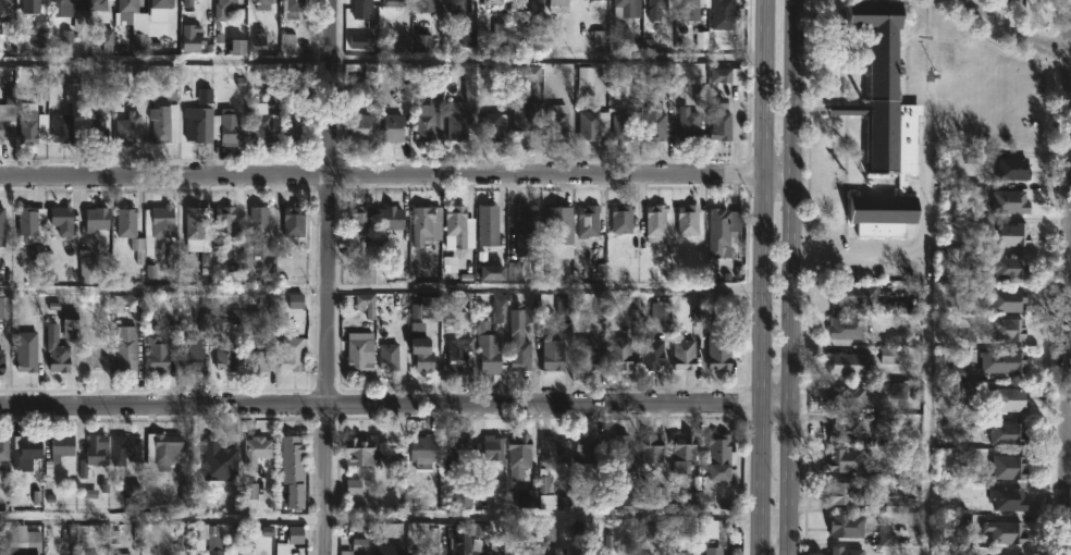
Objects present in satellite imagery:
building: (593, 0)
building: (62, 1)
building: (3, 2)
building: (162, 2)
building: (187, 2)
building: (266, 2)
building: (494, 2)
building: (393, 3)
building: (95, 4)
building: (458, 4)
building: (657, 4)
building: (29, 5)
building: (126, 5)
building: (426, 5)
building: (527, 5)
building: (559, 5)
building: (223, 8)
building: (621, 8)
building: (698, 8)
building: (293, 9)
building: (361, 9)
building: (724, 14)
road: (1010, 29)
building: (359, 45)
road: (382, 61)
building: (730, 76)
building: (586, 81)
road: (764, 84)
road: (792, 85)
building: (434, 87)
building: (74, 106)
building: (721, 118)
building: (200, 119)
building: (457, 121)
building: (528, 121)
building: (655, 121)
building: (424, 122)
building: (882, 122)
building: (557, 123)
building: (162, 124)
building: (295, 124)
building: (594, 125)
building: (689, 125)
building: (491, 126)
building: (33, 127)
building: (95, 127)
building: (128, 127)
building: (230, 127)
building: (360, 127)
building: (392, 127)
building: (621, 127)
building: (61, 128)
building: (260, 128)
building: (4, 129)
building: (1014, 168)
road: (778, 170)
road: (381, 173)
building: (1012, 202)
building: (4, 215)
building: (391, 218)
building: (61, 219)
building: (98, 219)
building: (620, 219)
building: (688, 219)
building: (26, 220)
building: (194, 221)
building: (294, 221)
building: (164, 222)
building: (225, 222)
building: (259, 222)
building: (978, 222)
building: (126, 223)
building: (588, 223)
building: (657, 223)
building: (426, 224)
building: (456, 224)
building: (488, 224)
road: (791, 226)
building: (526, 231)
building: (559, 232)
building: (719, 232)
road: (763, 232)
building: (358, 233)
building: (1015, 235)
road: (861, 257)
building: (1007, 267)
road: (328, 276)
road: (930, 277)
road: (381, 287)
building: (855, 293)
building: (1010, 300)
building: (367, 304)
building: (5, 308)
building: (426, 308)
building: (662, 317)
building: (70, 324)
building: (847, 326)
building: (1009, 329)
road: (790, 344)
building: (125, 348)
building: (489, 348)
road: (762, 348)
building: (719, 349)
building: (652, 350)
building: (359, 351)
building: (519, 351)
building: (422, 353)
building: (620, 353)
building: (459, 354)
building: (684, 354)
building: (158, 355)
building: (192, 355)
building: (293, 355)
building: (553, 355)
building: (587, 355)
building: (224, 356)
building: (390, 356)
building: (890, 357)
building: (26, 358)
building: (58, 358)
building: (93, 358)
building: (258, 359)
building: (2, 362)
building: (1005, 362)
building: (852, 363)
building: (971, 388)
building: (847, 397)
building: (1010, 398)
road: (1068, 400)
road: (381, 403)
road: (776, 403)
road: (762, 427)
building: (846, 431)
building: (1010, 432)
road: (790, 434)
building: (63, 444)
building: (4, 447)
building: (491, 447)
building: (125, 448)
building: (225, 448)
building: (590, 448)
building: (652, 448)
building: (162, 449)
building: (257, 449)
building: (424, 449)
building: (555, 449)
building: (618, 449)
building: (26, 451)
building: (293, 452)
building: (682, 452)
building: (95, 453)
building: (360, 453)
building: (722, 454)
building: (519, 455)
building: (454, 457)
building: (848, 459)
building: (1010, 466)
building: (850, 492)
building: (1011, 498)
road: (762, 503)
road: (380, 509)
road: (789, 510)
building: (848, 525)
building: (1007, 532)
building: (16, 536)
building: (290, 540)
building: (713, 550)
building: (1, 551)
building: (559, 551)
building: (847, 551)
building: (216, 552)
building: (348, 552)
building: (426, 553)
building: (124, 554)
building: (528, 554)

